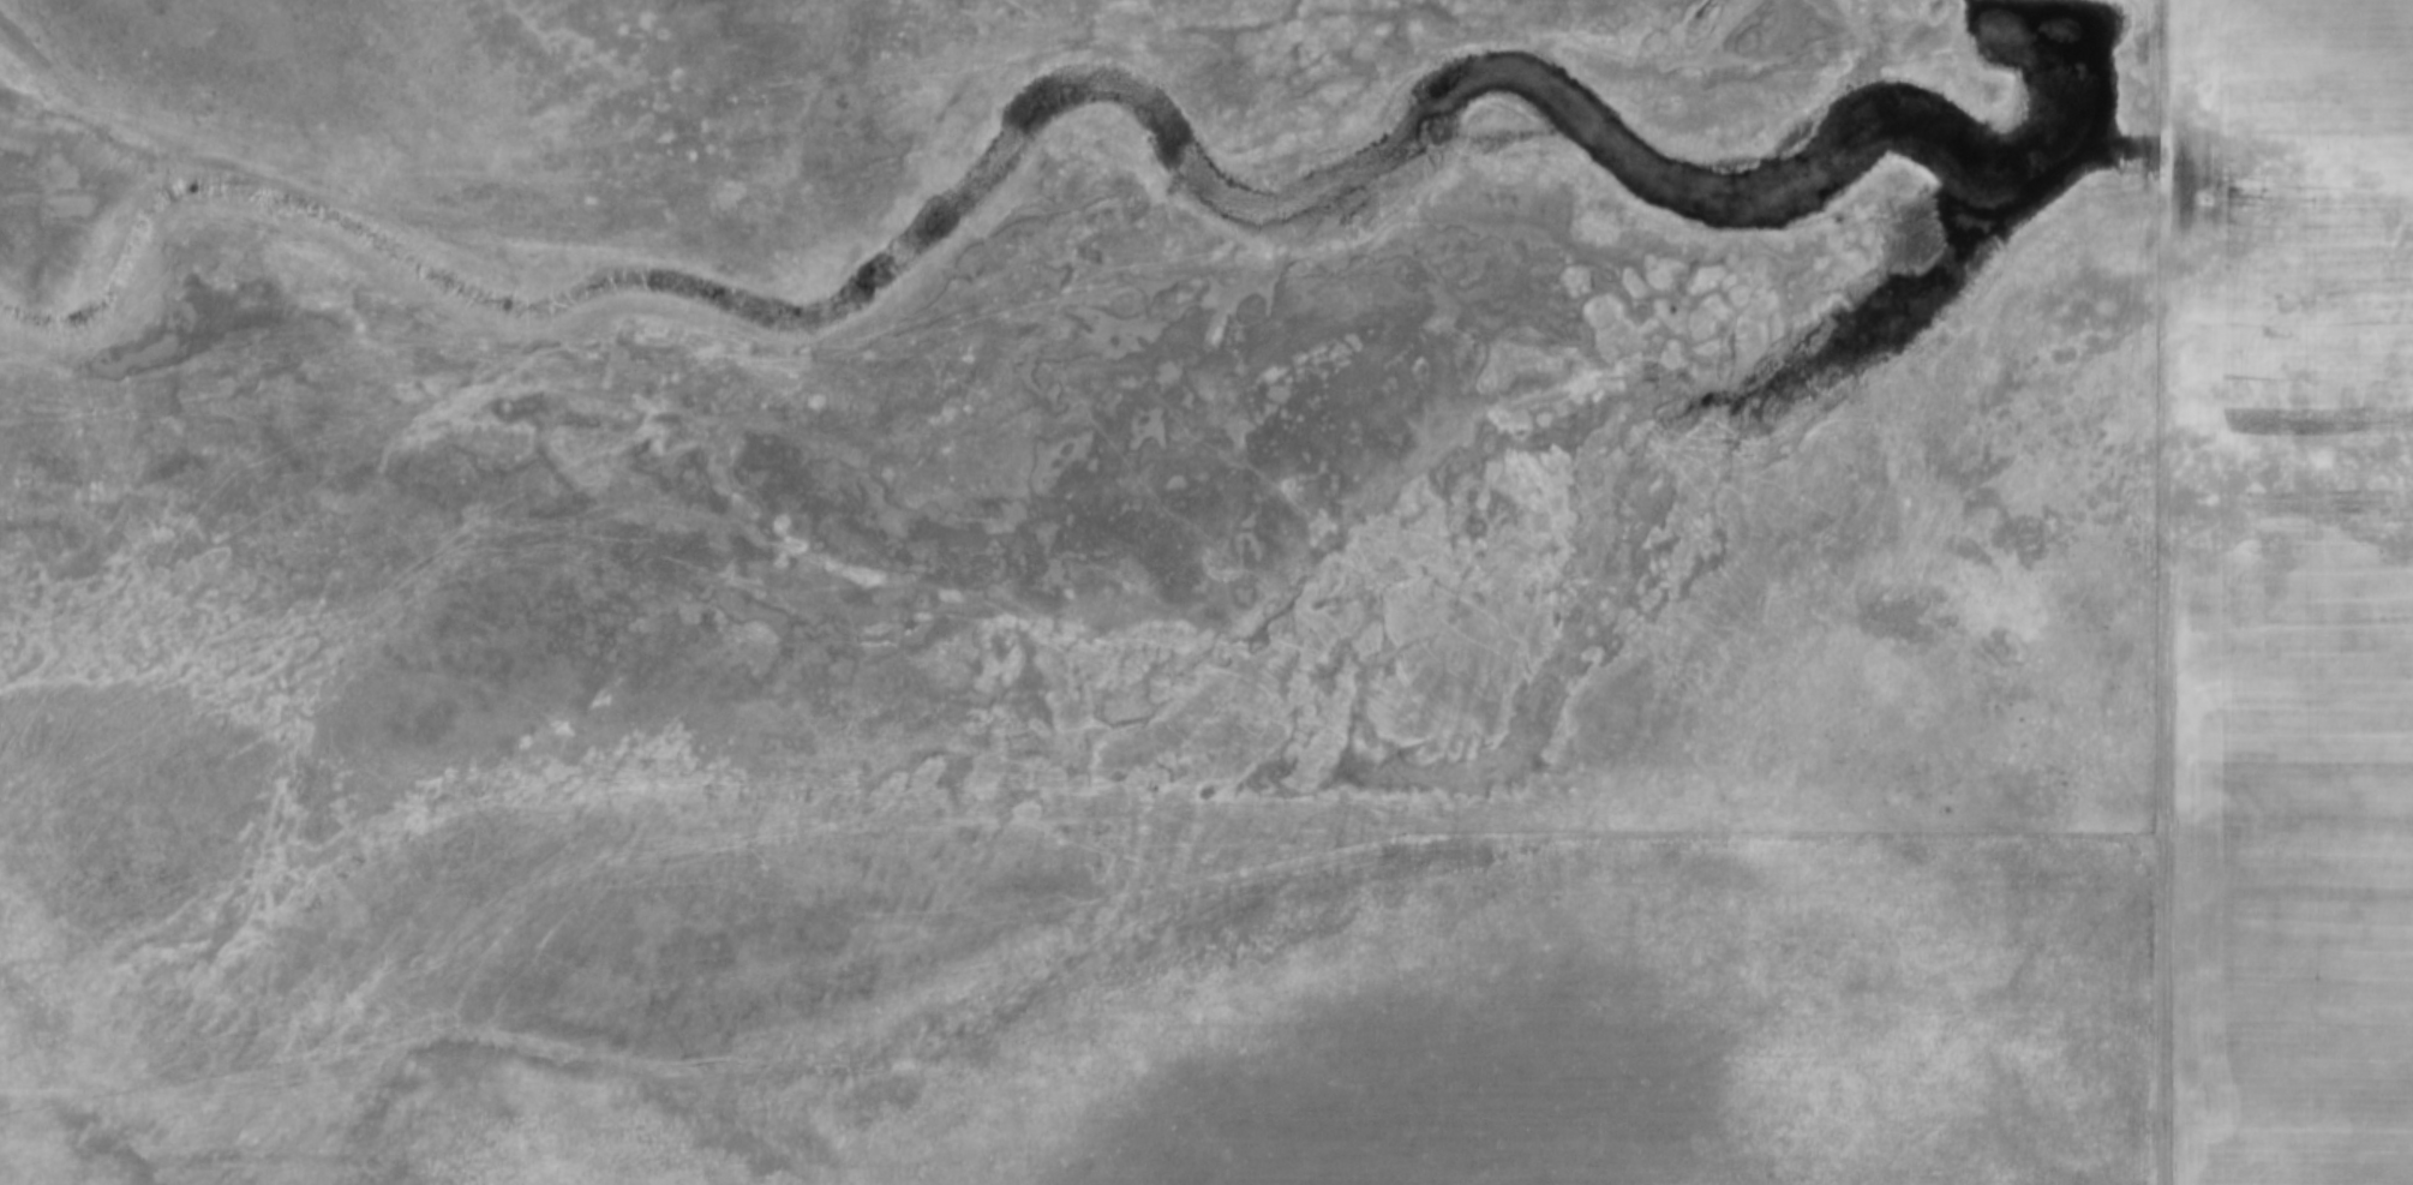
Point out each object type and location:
road: (2164, 924)

